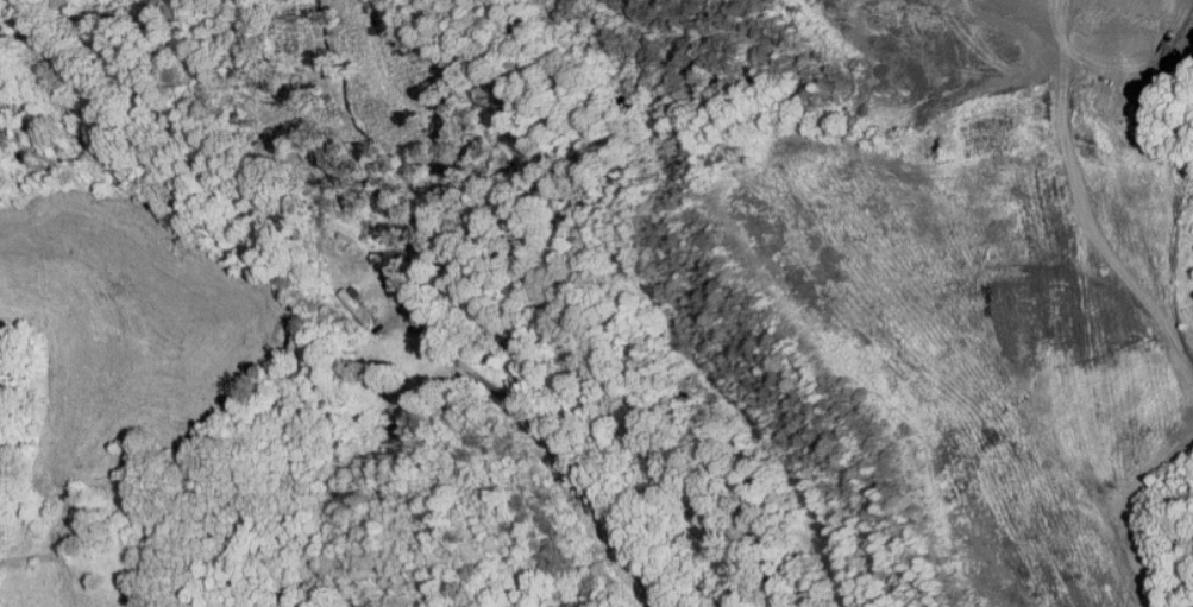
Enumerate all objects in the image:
road: (557, 445)

